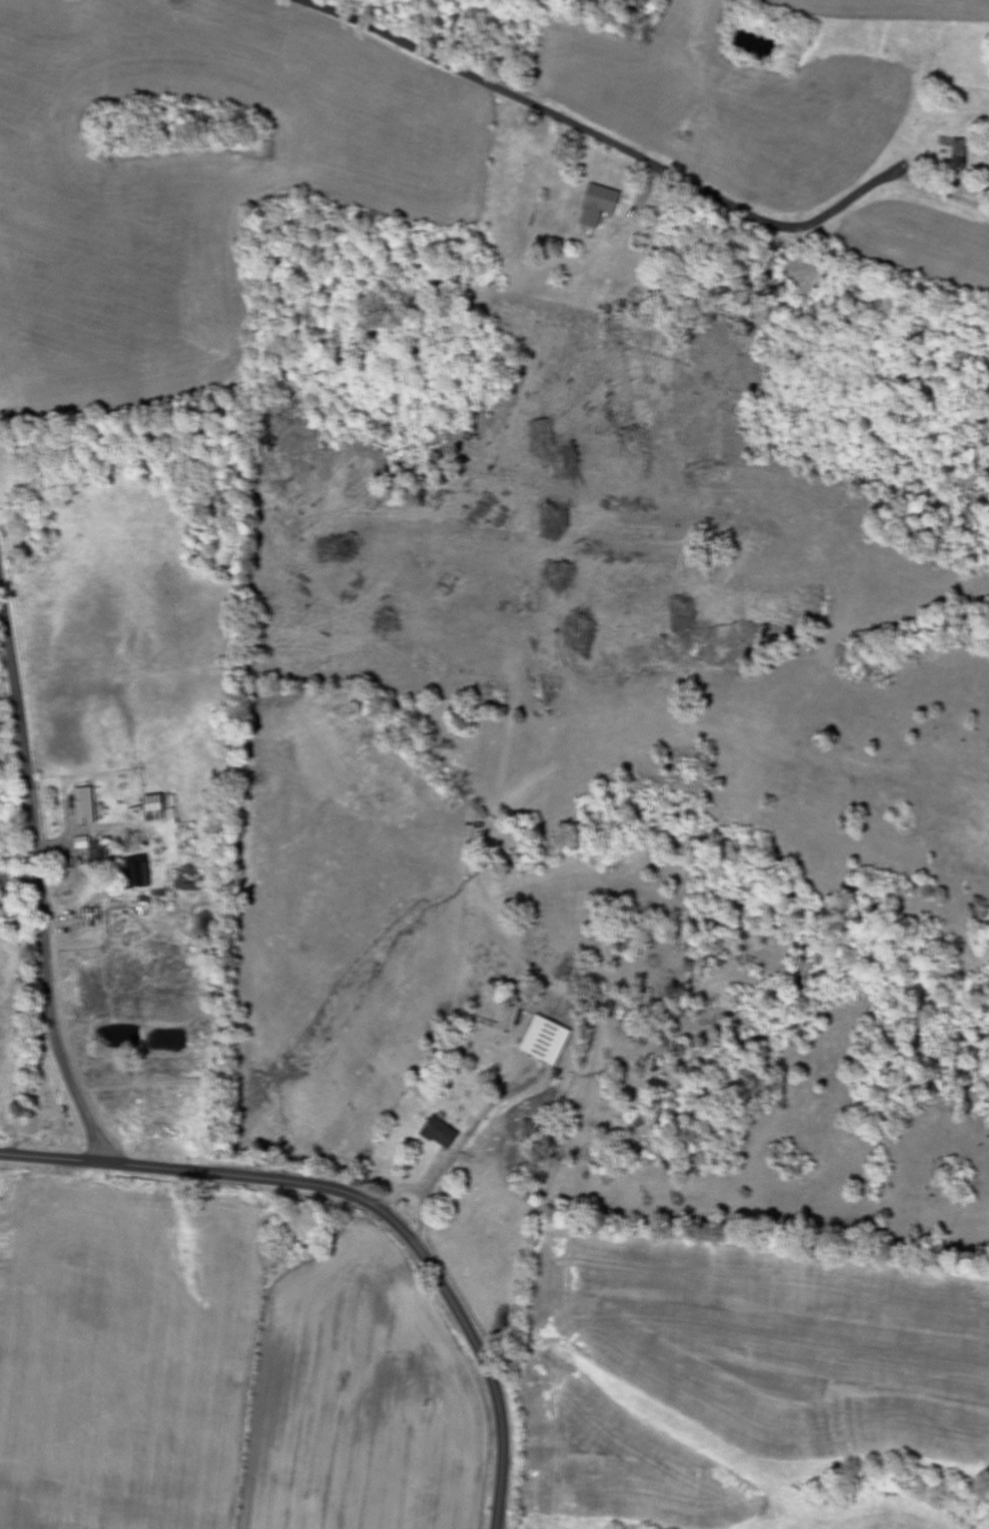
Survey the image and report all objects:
road: (607, 141)
building: (963, 151)
building: (604, 205)
building: (87, 806)
building: (160, 809)
building: (86, 843)
road: (39, 870)
building: (143, 876)
building: (190, 877)
building: (148, 907)
building: (96, 918)
building: (551, 1039)
building: (446, 1133)
road: (50, 1158)
road: (406, 1233)

